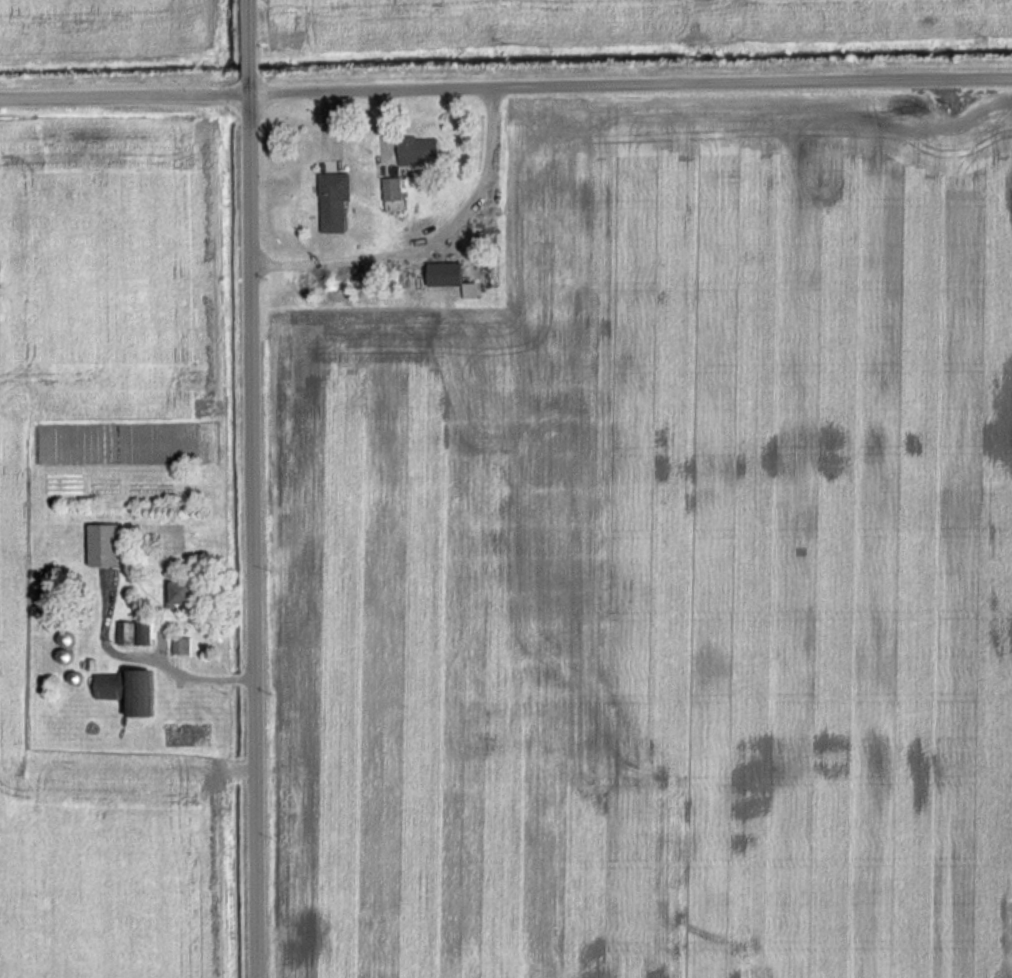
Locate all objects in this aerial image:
road: (505, 87)
building: (412, 151)
building: (391, 187)
building: (334, 203)
road: (427, 239)
building: (451, 278)
road: (256, 488)
building: (104, 546)
building: (180, 646)
road: (151, 662)

